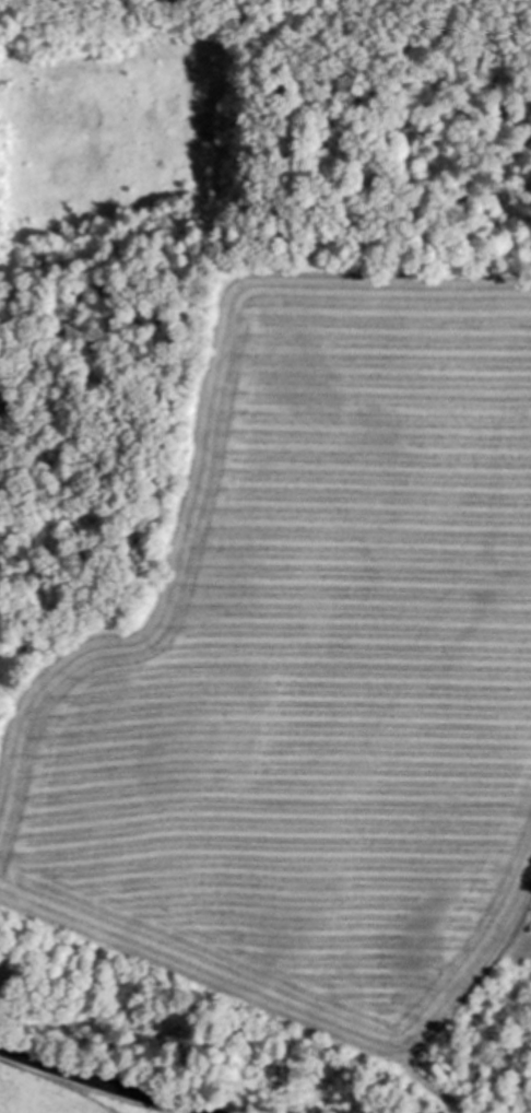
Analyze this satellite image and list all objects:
road: (99, 1083)

